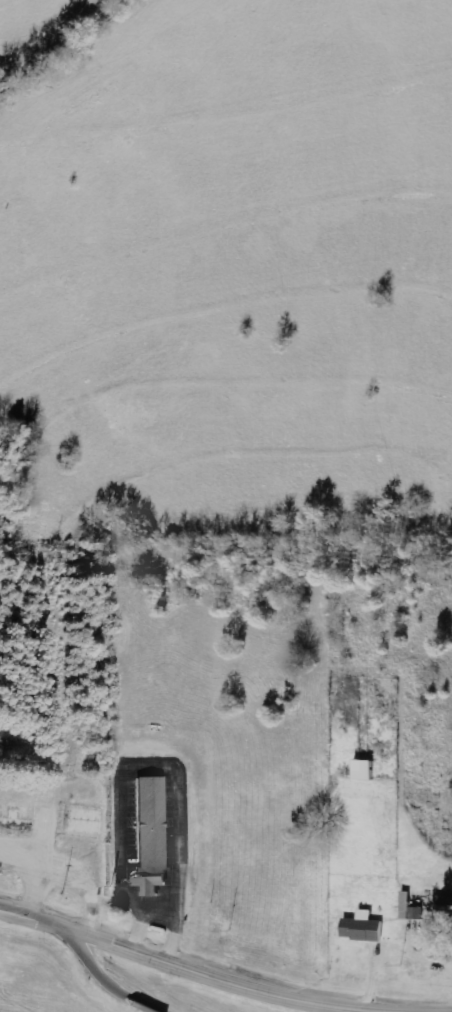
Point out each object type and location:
building: (364, 770)
building: (146, 833)
building: (411, 909)
building: (363, 928)
road: (98, 975)
road: (223, 975)

